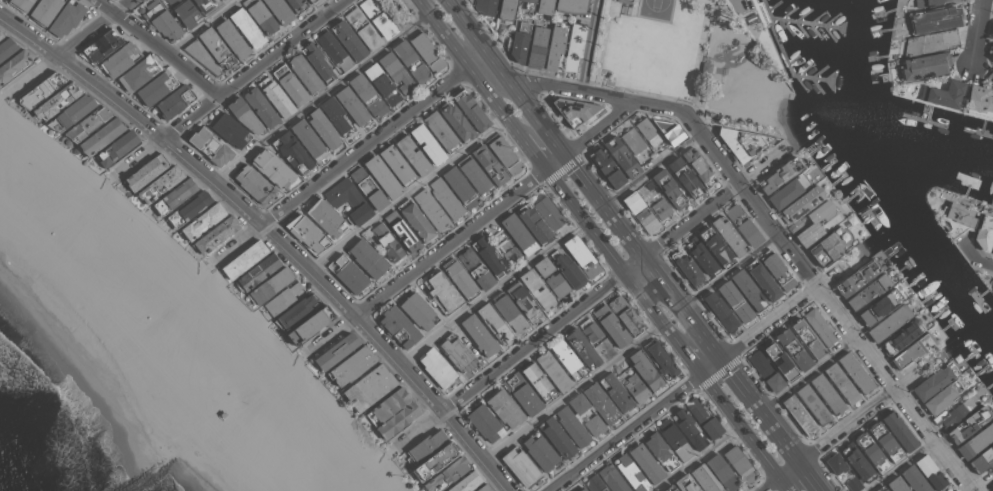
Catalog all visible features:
building: (5, 0)
building: (311, 1)
building: (625, 1)
building: (930, 3)
building: (20, 4)
building: (529, 4)
building: (203, 5)
building: (297, 5)
building: (571, 6)
building: (486, 7)
building: (544, 7)
park: (656, 8)
building: (279, 10)
building: (506, 10)
building: (44, 11)
road: (624, 11)
building: (185, 12)
building: (260, 15)
building: (66, 18)
building: (378, 18)
road: (656, 19)
building: (751, 19)
building: (935, 19)
building: (162, 20)
road: (94, 27)
road: (201, 27)
building: (246, 27)
building: (362, 28)
building: (991, 32)
road: (445, 33)
road: (973, 33)
building: (1, 34)
building: (232, 39)
building: (348, 40)
building: (519, 41)
building: (930, 42)
road: (588, 45)
building: (100, 46)
building: (6, 47)
road: (159, 47)
building: (536, 47)
building: (555, 47)
building: (574, 47)
building: (216, 48)
building: (333, 50)
park: (673, 51)
building: (990, 51)
building: (427, 52)
pier: (790, 52)
building: (201, 56)
building: (119, 59)
road: (480, 60)
building: (317, 61)
building: (411, 61)
building: (13, 64)
building: (923, 66)
road: (723, 69)
road: (254, 70)
building: (396, 72)
road: (81, 73)
building: (138, 73)
building: (304, 73)
road: (37, 74)
road: (506, 77)
building: (990, 77)
road: (588, 81)
building: (290, 84)
building: (381, 84)
building: (156, 87)
building: (40, 89)
road: (569, 89)
building: (943, 94)
building: (367, 95)
road: (658, 95)
building: (276, 96)
road: (323, 96)
building: (56, 100)
building: (174, 101)
building: (979, 101)
road: (494, 102)
building: (352, 106)
building: (261, 107)
building: (471, 110)
building: (573, 110)
building: (71, 112)
building: (244, 115)
building: (335, 115)
building: (456, 121)
building: (87, 124)
road: (596, 127)
building: (229, 129)
building: (323, 129)
building: (440, 131)
building: (670, 131)
building: (647, 132)
building: (101, 136)
building: (309, 140)
building: (632, 140)
building: (742, 142)
building: (427, 144)
building: (210, 146)
road: (367, 146)
building: (117, 148)
building: (292, 152)
road: (533, 152)
road: (138, 154)
building: (412, 155)
building: (505, 155)
building: (621, 156)
road: (554, 162)
building: (489, 164)
building: (397, 165)
building: (606, 166)
building: (699, 167)
building: (273, 168)
road: (652, 171)
building: (146, 172)
building: (474, 175)
building: (779, 175)
building: (382, 176)
building: (685, 177)
building: (160, 184)
building: (254, 184)
building: (460, 187)
building: (368, 188)
building: (668, 188)
building: (787, 191)
building: (343, 193)
building: (648, 193)
road: (408, 194)
building: (174, 196)
building: (446, 198)
building: (632, 202)
building: (801, 204)
road: (604, 206)
building: (187, 208)
building: (660, 208)
building: (430, 209)
building: (548, 212)
building: (359, 214)
building: (326, 218)
building: (958, 218)
building: (415, 220)
building: (646, 220)
building: (202, 221)
building: (818, 222)
building: (534, 224)
building: (743, 225)
building: (795, 225)
building: (401, 230)
building: (984, 232)
building: (307, 233)
building: (215, 234)
building: (518, 234)
building: (729, 235)
building: (387, 242)
road: (239, 243)
road: (450, 243)
building: (830, 245)
building: (715, 247)
building: (510, 253)
building: (992, 253)
building: (489, 256)
building: (581, 256)
road: (614, 257)
building: (701, 257)
building: (367, 258)
road: (979, 258)
building: (244, 259)
building: (543, 266)
building: (475, 268)
building: (686, 268)
building: (568, 269)
road: (652, 269)
building: (777, 270)
building: (258, 271)
road: (729, 273)
building: (347, 274)
building: (857, 277)
building: (460, 279)
road: (810, 279)
building: (762, 280)
building: (992, 282)
building: (556, 284)
building: (270, 285)
building: (531, 289)
building: (748, 289)
building: (868, 291)
building: (442, 292)
road: (492, 292)
building: (992, 292)
building: (281, 299)
road: (591, 299)
building: (523, 301)
building: (734, 301)
road: (343, 304)
building: (879, 306)
building: (296, 311)
building: (418, 311)
building: (720, 311)
building: (508, 312)
building: (625, 315)
road: (689, 319)
building: (889, 322)
building: (493, 323)
building: (310, 325)
building: (398, 326)
building: (610, 326)
building: (818, 326)
building: (590, 329)
building: (478, 335)
road: (328, 336)
building: (901, 336)
building: (807, 338)
building: (582, 348)
building: (793, 349)
building: (913, 350)
building: (336, 351)
building: (456, 352)
building: (776, 356)
building: (660, 359)
building: (568, 360)
road: (692, 360)
building: (352, 365)
building: (436, 367)
building: (765, 370)
building: (553, 371)
building: (645, 371)
building: (855, 372)
road: (807, 374)
building: (934, 381)
building: (538, 382)
building: (841, 383)
building: (369, 387)
building: (635, 388)
road: (682, 389)
road: (573, 392)
building: (615, 392)
building: (522, 393)
building: (827, 394)
building: (942, 397)
building: (578, 403)
building: (600, 403)
building: (812, 404)
building: (388, 406)
building: (503, 407)
road: (759, 411)
building: (953, 413)
building: (799, 414)
building: (398, 419)
building: (703, 419)
building: (485, 423)
building: (968, 424)
building: (572, 425)
building: (594, 425)
building: (688, 428)
building: (899, 430)
road: (419, 432)
road: (745, 432)
building: (556, 437)
building: (674, 439)
road: (827, 440)
building: (885, 441)
building: (976, 441)
building: (424, 446)
building: (539, 451)
building: (660, 451)
building: (871, 452)
road: (699, 458)
building: (982, 459)
building: (434, 461)
building: (645, 462)
building: (739, 463)
building: (835, 463)
building: (858, 464)
building: (519, 466)
road: (899, 466)
building: (722, 472)
building: (930, 472)
building: (631, 473)
building: (447, 474)
road: (809, 475)
building: (612, 478)
building: (704, 478)
building: (914, 479)
building: (466, 482)
building: (594, 483)
building: (685, 483)
building: (854, 484)
building: (896, 484)
building: (483, 488)
building: (670, 488)
building: (881, 488)
building: (582, 489)
road: (819, 489)
road: (970, 490)
building: (992, 490)

